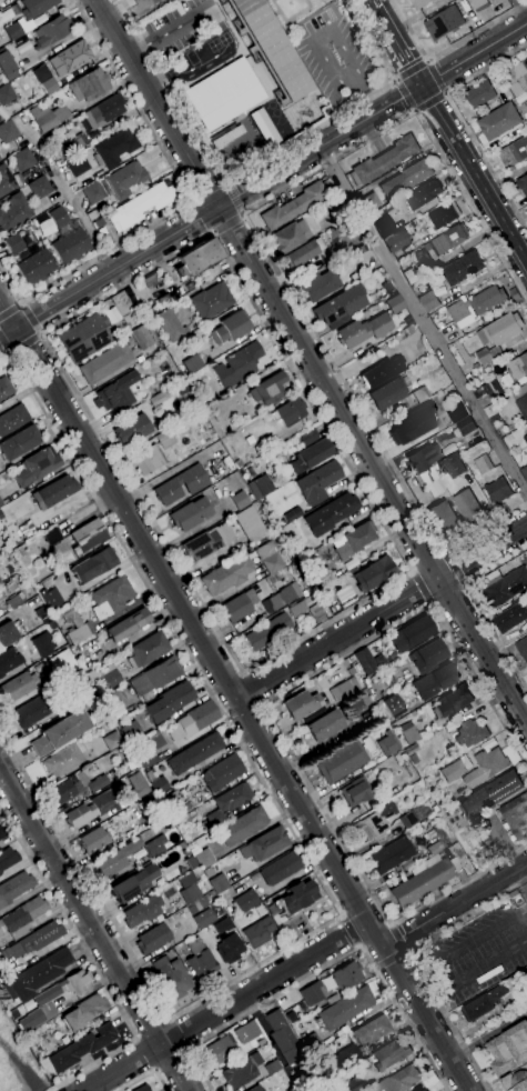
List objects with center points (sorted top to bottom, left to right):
building: (407, 0)
building: (434, 0)
building: (419, 3)
building: (479, 4)
building: (37, 7)
road: (521, 8)
building: (6, 14)
building: (444, 22)
road: (217, 27)
building: (13, 30)
building: (52, 30)
road: (325, 36)
road: (399, 41)
road: (446, 48)
building: (267, 50)
road: (475, 53)
building: (70, 58)
road: (426, 61)
building: (7, 64)
road: (411, 71)
building: (41, 73)
road: (434, 77)
building: (516, 77)
road: (395, 79)
building: (89, 84)
traffic signals: (425, 84)
building: (50, 86)
building: (486, 91)
building: (6, 93)
building: (225, 93)
road: (444, 93)
road: (405, 94)
road: (363, 99)
road: (427, 100)
building: (103, 111)
road: (414, 111)
building: (3, 113)
building: (61, 113)
building: (0, 119)
building: (44, 119)
building: (0, 121)
road: (462, 121)
building: (498, 121)
road: (419, 122)
building: (263, 127)
building: (8, 131)
building: (77, 143)
building: (114, 148)
building: (514, 153)
building: (23, 159)
building: (383, 160)
road: (257, 161)
building: (78, 164)
road: (475, 171)
building: (406, 179)
building: (8, 180)
building: (125, 180)
road: (222, 181)
road: (225, 183)
building: (523, 184)
building: (40, 187)
road: (207, 190)
building: (93, 191)
building: (424, 194)
road: (233, 197)
road: (194, 199)
building: (369, 201)
road: (189, 203)
building: (141, 206)
building: (294, 206)
road: (212, 210)
building: (14, 211)
road: (243, 211)
road: (242, 216)
building: (443, 216)
building: (59, 217)
road: (83, 221)
building: (99, 222)
road: (227, 223)
building: (384, 226)
building: (23, 230)
road: (215, 231)
building: (290, 236)
building: (396, 240)
building: (447, 240)
building: (13, 242)
building: (71, 246)
building: (304, 251)
building: (197, 258)
building: (36, 266)
building: (462, 268)
building: (213, 270)
building: (411, 276)
building: (152, 280)
building: (435, 281)
building: (320, 284)
building: (189, 286)
building: (387, 286)
building: (179, 291)
building: (211, 300)
building: (428, 301)
building: (395, 303)
building: (477, 303)
building: (341, 307)
building: (125, 308)
road: (10, 309)
building: (149, 311)
building: (150, 316)
road: (33, 319)
road: (423, 321)
building: (171, 324)
building: (231, 327)
building: (115, 328)
building: (364, 330)
building: (497, 336)
building: (83, 337)
building: (141, 337)
building: (399, 337)
road: (6, 344)
road: (27, 344)
building: (140, 359)
building: (192, 363)
building: (107, 364)
building: (239, 364)
road: (312, 364)
building: (518, 368)
building: (381, 371)
building: (6, 388)
building: (270, 389)
building: (116, 393)
building: (387, 393)
building: (420, 393)
building: (485, 394)
building: (156, 399)
building: (521, 400)
building: (291, 411)
building: (493, 411)
building: (12, 419)
building: (414, 423)
road: (368, 426)
building: (466, 426)
building: (176, 429)
building: (132, 430)
building: (308, 437)
building: (525, 439)
building: (20, 442)
building: (312, 456)
building: (422, 458)
building: (146, 459)
building: (239, 463)
building: (454, 464)
building: (483, 464)
building: (37, 466)
building: (524, 472)
building: (317, 481)
building: (195, 484)
building: (261, 487)
building: (498, 490)
building: (53, 492)
building: (240, 500)
building: (1, 502)
building: (468, 507)
building: (191, 513)
building: (331, 513)
building: (444, 520)
building: (282, 522)
building: (251, 524)
building: (28, 529)
building: (281, 533)
building: (88, 534)
building: (52, 536)
building: (353, 540)
building: (207, 541)
building: (293, 554)
building: (270, 557)
road: (427, 562)
building: (94, 564)
road: (455, 569)
building: (373, 573)
building: (227, 574)
building: (0, 581)
road: (422, 588)
building: (506, 588)
building: (325, 593)
road: (448, 594)
building: (1, 595)
building: (284, 597)
building: (50, 598)
building: (111, 598)
building: (17, 600)
building: (307, 601)
building: (239, 604)
road: (428, 605)
road: (477, 605)
building: (295, 608)
road: (382, 612)
building: (511, 615)
building: (73, 624)
building: (128, 624)
road: (173, 629)
building: (267, 631)
building: (7, 633)
building: (412, 633)
building: (43, 643)
building: (79, 649)
building: (148, 649)
building: (521, 649)
building: (427, 655)
building: (9, 661)
building: (368, 661)
road: (243, 669)
road: (244, 672)
building: (104, 675)
building: (156, 675)
building: (375, 678)
building: (78, 680)
building: (435, 681)
building: (18, 687)
road: (253, 688)
building: (345, 689)
road: (234, 693)
building: (168, 701)
building: (452, 701)
building: (69, 703)
road: (262, 703)
building: (302, 704)
building: (353, 705)
building: (394, 705)
building: (31, 711)
building: (197, 718)
building: (324, 725)
building: (131, 731)
building: (61, 732)
building: (408, 732)
building: (470, 733)
building: (112, 740)
building: (386, 743)
building: (194, 753)
building: (144, 757)
building: (399, 757)
building: (65, 758)
building: (414, 759)
building: (341, 761)
building: (486, 764)
building: (453, 770)
building: (222, 772)
building: (138, 784)
building: (159, 785)
building: (77, 787)
building: (355, 791)
building: (457, 793)
building: (490, 795)
building: (229, 802)
building: (438, 803)
building: (173, 805)
building: (91, 808)
building: (434, 808)
building: (414, 815)
building: (515, 818)
building: (374, 822)
building: (243, 825)
building: (2, 832)
building: (430, 834)
building: (94, 840)
building: (437, 840)
building: (182, 844)
building: (264, 844)
building: (391, 855)
building: (114, 858)
building: (204, 858)
building: (8, 859)
building: (280, 868)
road: (84, 872)
building: (425, 879)
road: (520, 879)
road: (366, 882)
building: (133, 883)
building: (219, 883)
building: (14, 888)
building: (189, 888)
building: (296, 897)
building: (245, 901)
road: (454, 903)
building: (143, 911)
building: (23, 917)
road: (344, 917)
road: (466, 917)
building: (204, 919)
road: (68, 922)
road: (392, 924)
building: (222, 925)
building: (0, 931)
road: (94, 931)
building: (259, 931)
road: (352, 931)
road: (484, 934)
building: (41, 937)
road: (397, 937)
building: (153, 938)
road: (361, 944)
building: (230, 948)
road: (405, 949)
road: (405, 951)
park: (487, 951)
building: (7, 953)
road: (391, 960)
building: (201, 961)
road: (489, 962)
road: (256, 965)
road: (326, 967)
road: (376, 968)
building: (38, 974)
building: (346, 974)
building: (172, 978)
building: (510, 981)
building: (65, 987)
building: (313, 993)
building: (525, 993)
building: (332, 998)
building: (483, 1003)
road: (225, 1005)
building: (345, 1008)
building: (85, 1011)
building: (38, 1017)
road: (447, 1021)
road: (152, 1025)
building: (372, 1030)
building: (247, 1031)
road: (179, 1033)
building: (283, 1038)
building: (312, 1041)
building: (82, 1047)
building: (509, 1049)
building: (217, 1050)
building: (391, 1053)
building: (348, 1054)
road: (144, 1055)
road: (170, 1060)
road: (92, 1064)
road: (20, 1065)
building: (272, 1067)
building: (328, 1067)
building: (242, 1071)
road: (146, 1074)
building: (399, 1080)
building: (516, 1080)
building: (352, 1084)
building: (142, 1088)
building: (255, 1089)
building: (290, 1090)
building: (419, 1090)
building: (425, 1090)

